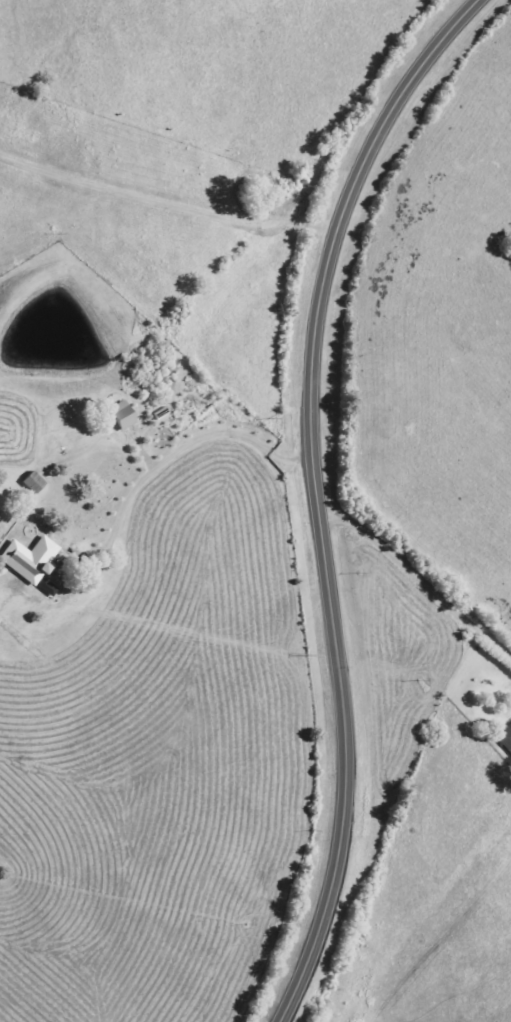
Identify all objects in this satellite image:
building: (121, 416)
building: (32, 483)
road: (320, 494)
building: (28, 559)
road: (420, 580)
building: (505, 739)

